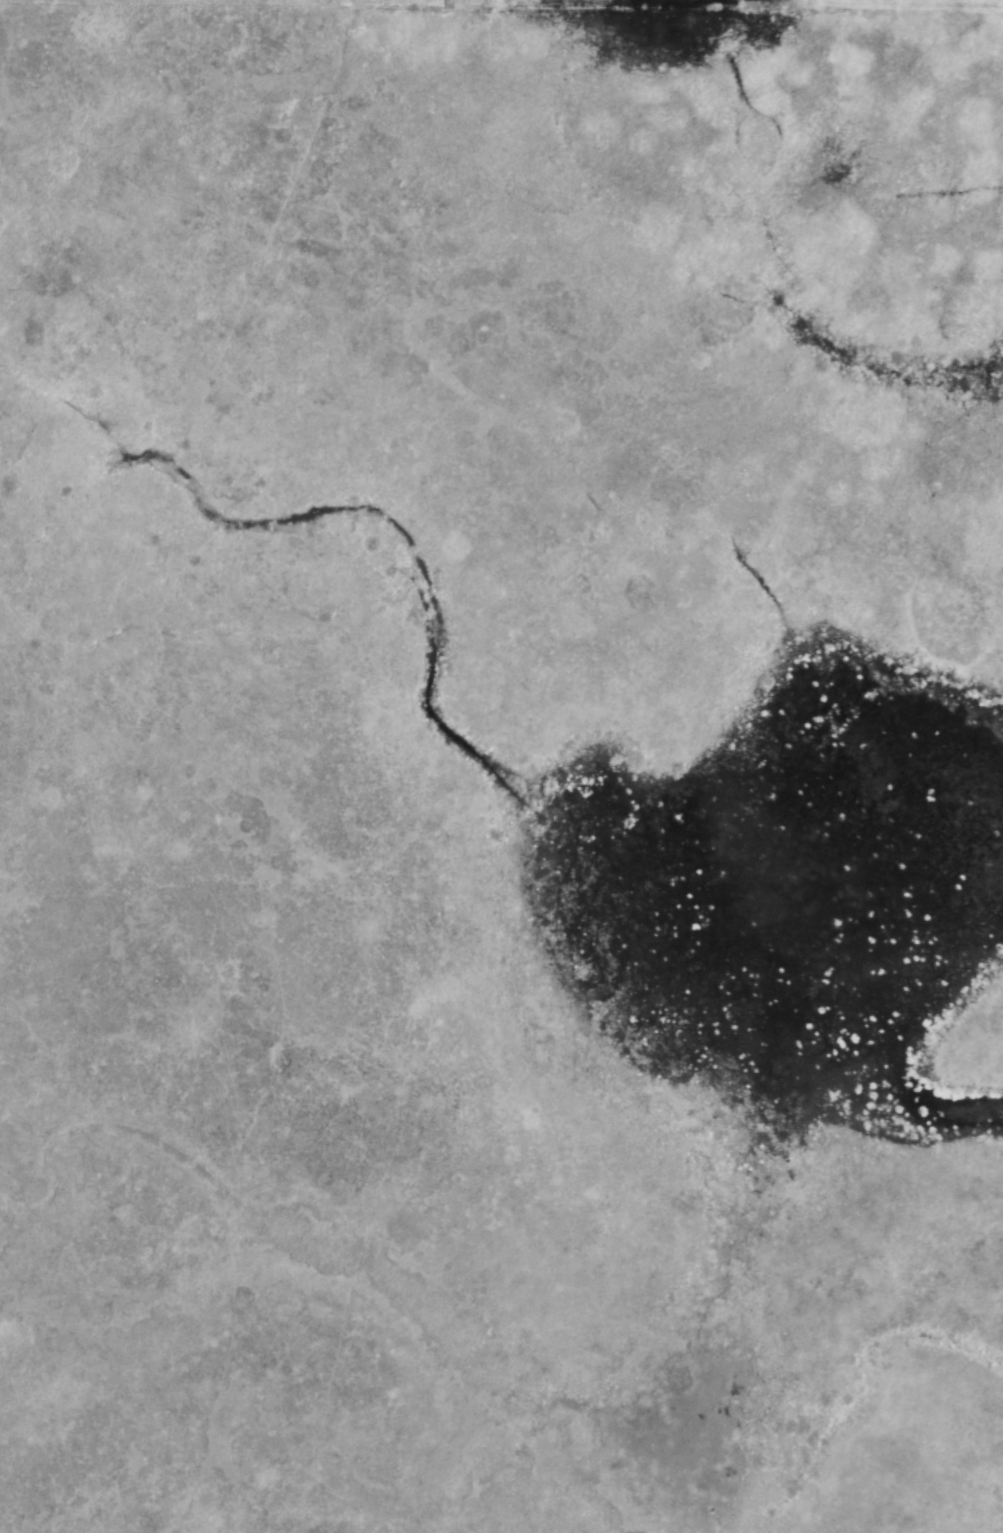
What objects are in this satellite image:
crop: (501, 766)

